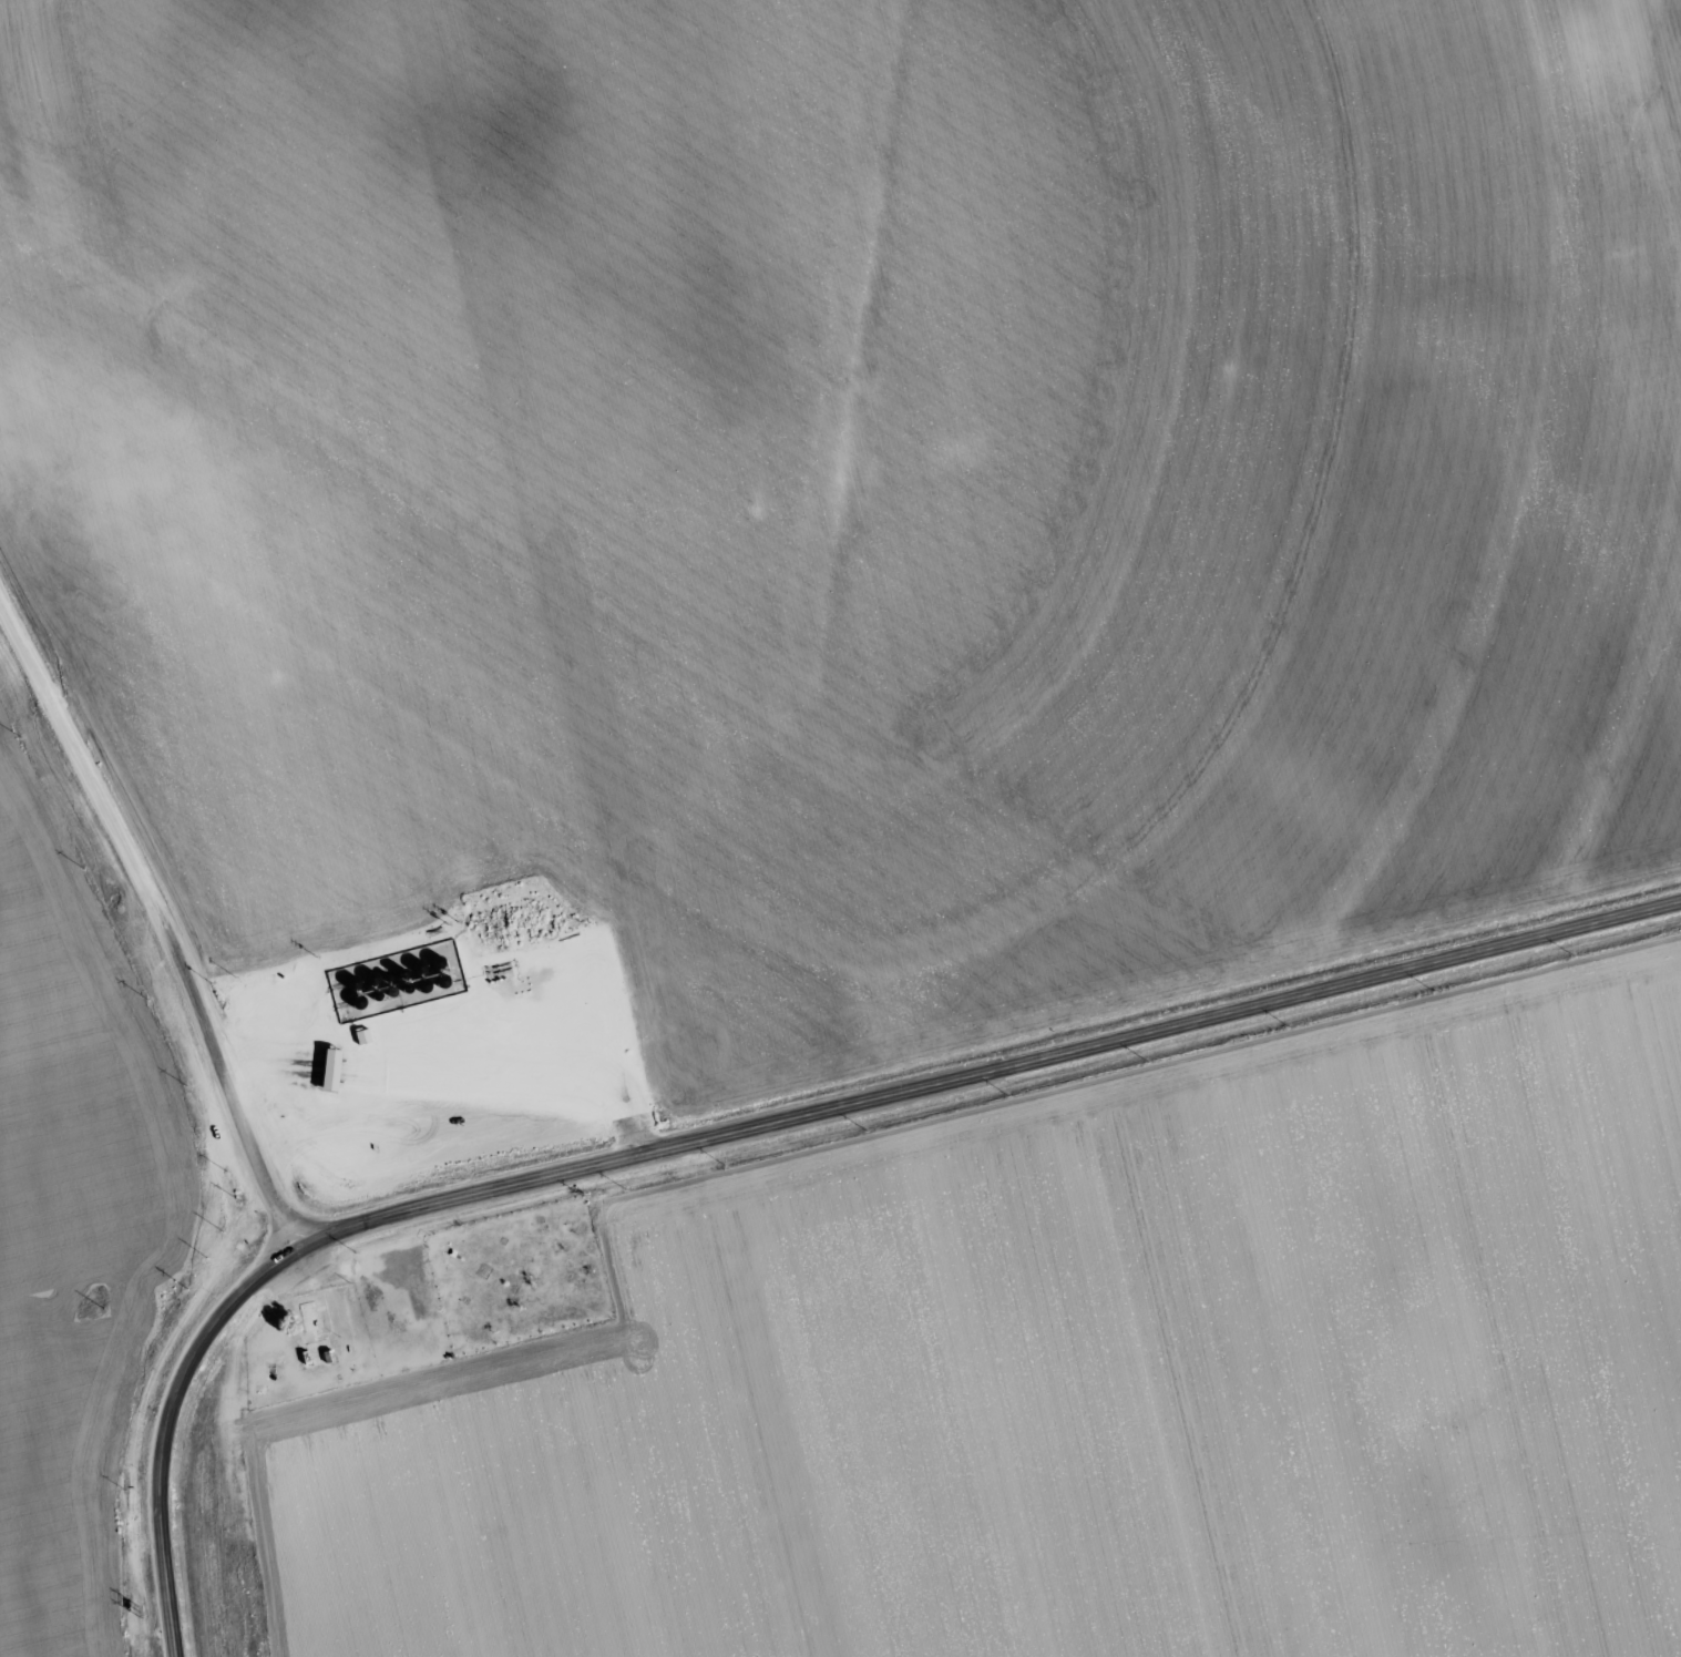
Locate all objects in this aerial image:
road: (160, 951)
road: (765, 1122)
building: (305, 1315)
building: (309, 1351)

